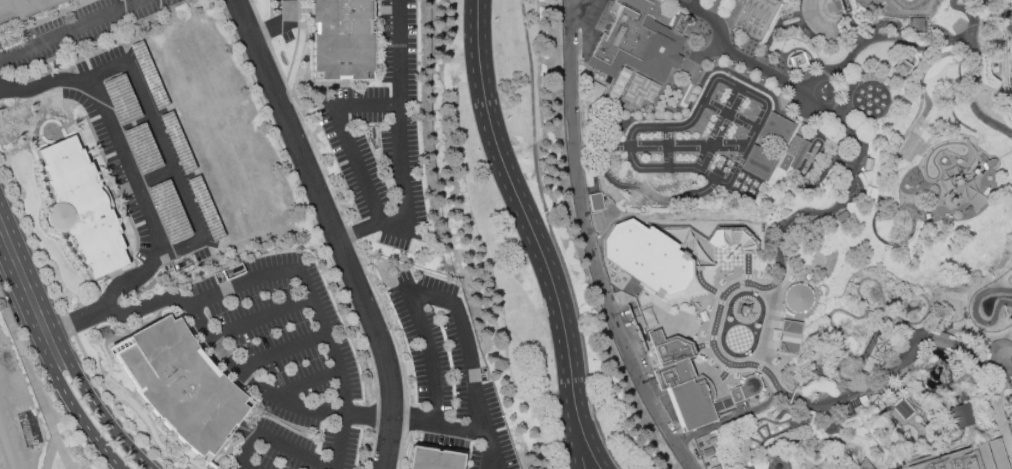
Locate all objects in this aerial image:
road: (140, 0)
building: (778, 0)
road: (687, 5)
building: (23, 10)
road: (255, 10)
road: (972, 16)
building: (826, 18)
road: (276, 26)
road: (71, 30)
road: (264, 31)
building: (342, 39)
building: (641, 39)
road: (863, 47)
building: (797, 63)
road: (108, 71)
building: (148, 75)
road: (43, 84)
building: (619, 85)
building: (120, 99)
road: (735, 102)
road: (364, 106)
road: (532, 114)
road: (731, 116)
road: (398, 119)
road: (844, 126)
road: (652, 129)
road: (309, 132)
building: (778, 132)
building: (177, 143)
road: (749, 147)
building: (141, 148)
road: (166, 149)
road: (669, 149)
building: (909, 149)
road: (606, 154)
building: (789, 154)
parking lot: (143, 158)
road: (704, 158)
building: (760, 165)
road: (129, 167)
road: (831, 167)
road: (355, 172)
road: (814, 177)
road: (593, 183)
road: (929, 191)
building: (595, 202)
building: (204, 208)
building: (82, 209)
building: (168, 212)
road: (880, 213)
road: (537, 215)
road: (518, 218)
theme park: (798, 222)
road: (331, 230)
road: (355, 232)
road: (350, 234)
road: (32, 236)
road: (884, 243)
road: (591, 245)
road: (778, 252)
building: (647, 258)
road: (16, 264)
road: (125, 283)
building: (797, 298)
road: (317, 309)
road: (261, 317)
building: (648, 317)
road: (388, 320)
road: (70, 324)
building: (788, 337)
road: (945, 342)
road: (19, 347)
road: (583, 349)
road: (367, 350)
road: (281, 351)
road: (430, 355)
road: (469, 362)
road: (980, 363)
road: (307, 380)
building: (682, 384)
building: (180, 385)
road: (85, 390)
road: (64, 392)
building: (746, 392)
road: (848, 394)
road: (274, 395)
building: (1010, 401)
road: (117, 407)
building: (903, 409)
road: (377, 417)
building: (960, 417)
road: (406, 418)
road: (712, 429)
road: (53, 430)
road: (68, 430)
building: (1011, 434)
road: (247, 446)
road: (298, 450)
road: (372, 450)
road: (400, 450)
road: (596, 451)
road: (51, 453)
road: (573, 453)
building: (971, 459)
building: (433, 460)
crop: (1, 464)
road: (247, 466)
road: (491, 466)

